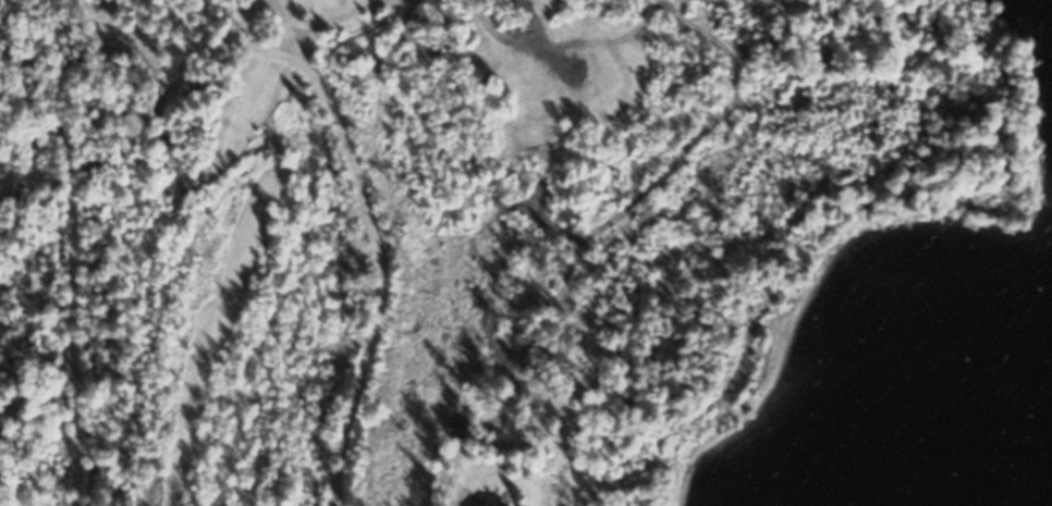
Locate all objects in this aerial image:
road: (305, 49)
road: (27, 75)
road: (363, 174)
park: (20, 256)
road: (81, 301)
building: (503, 504)

